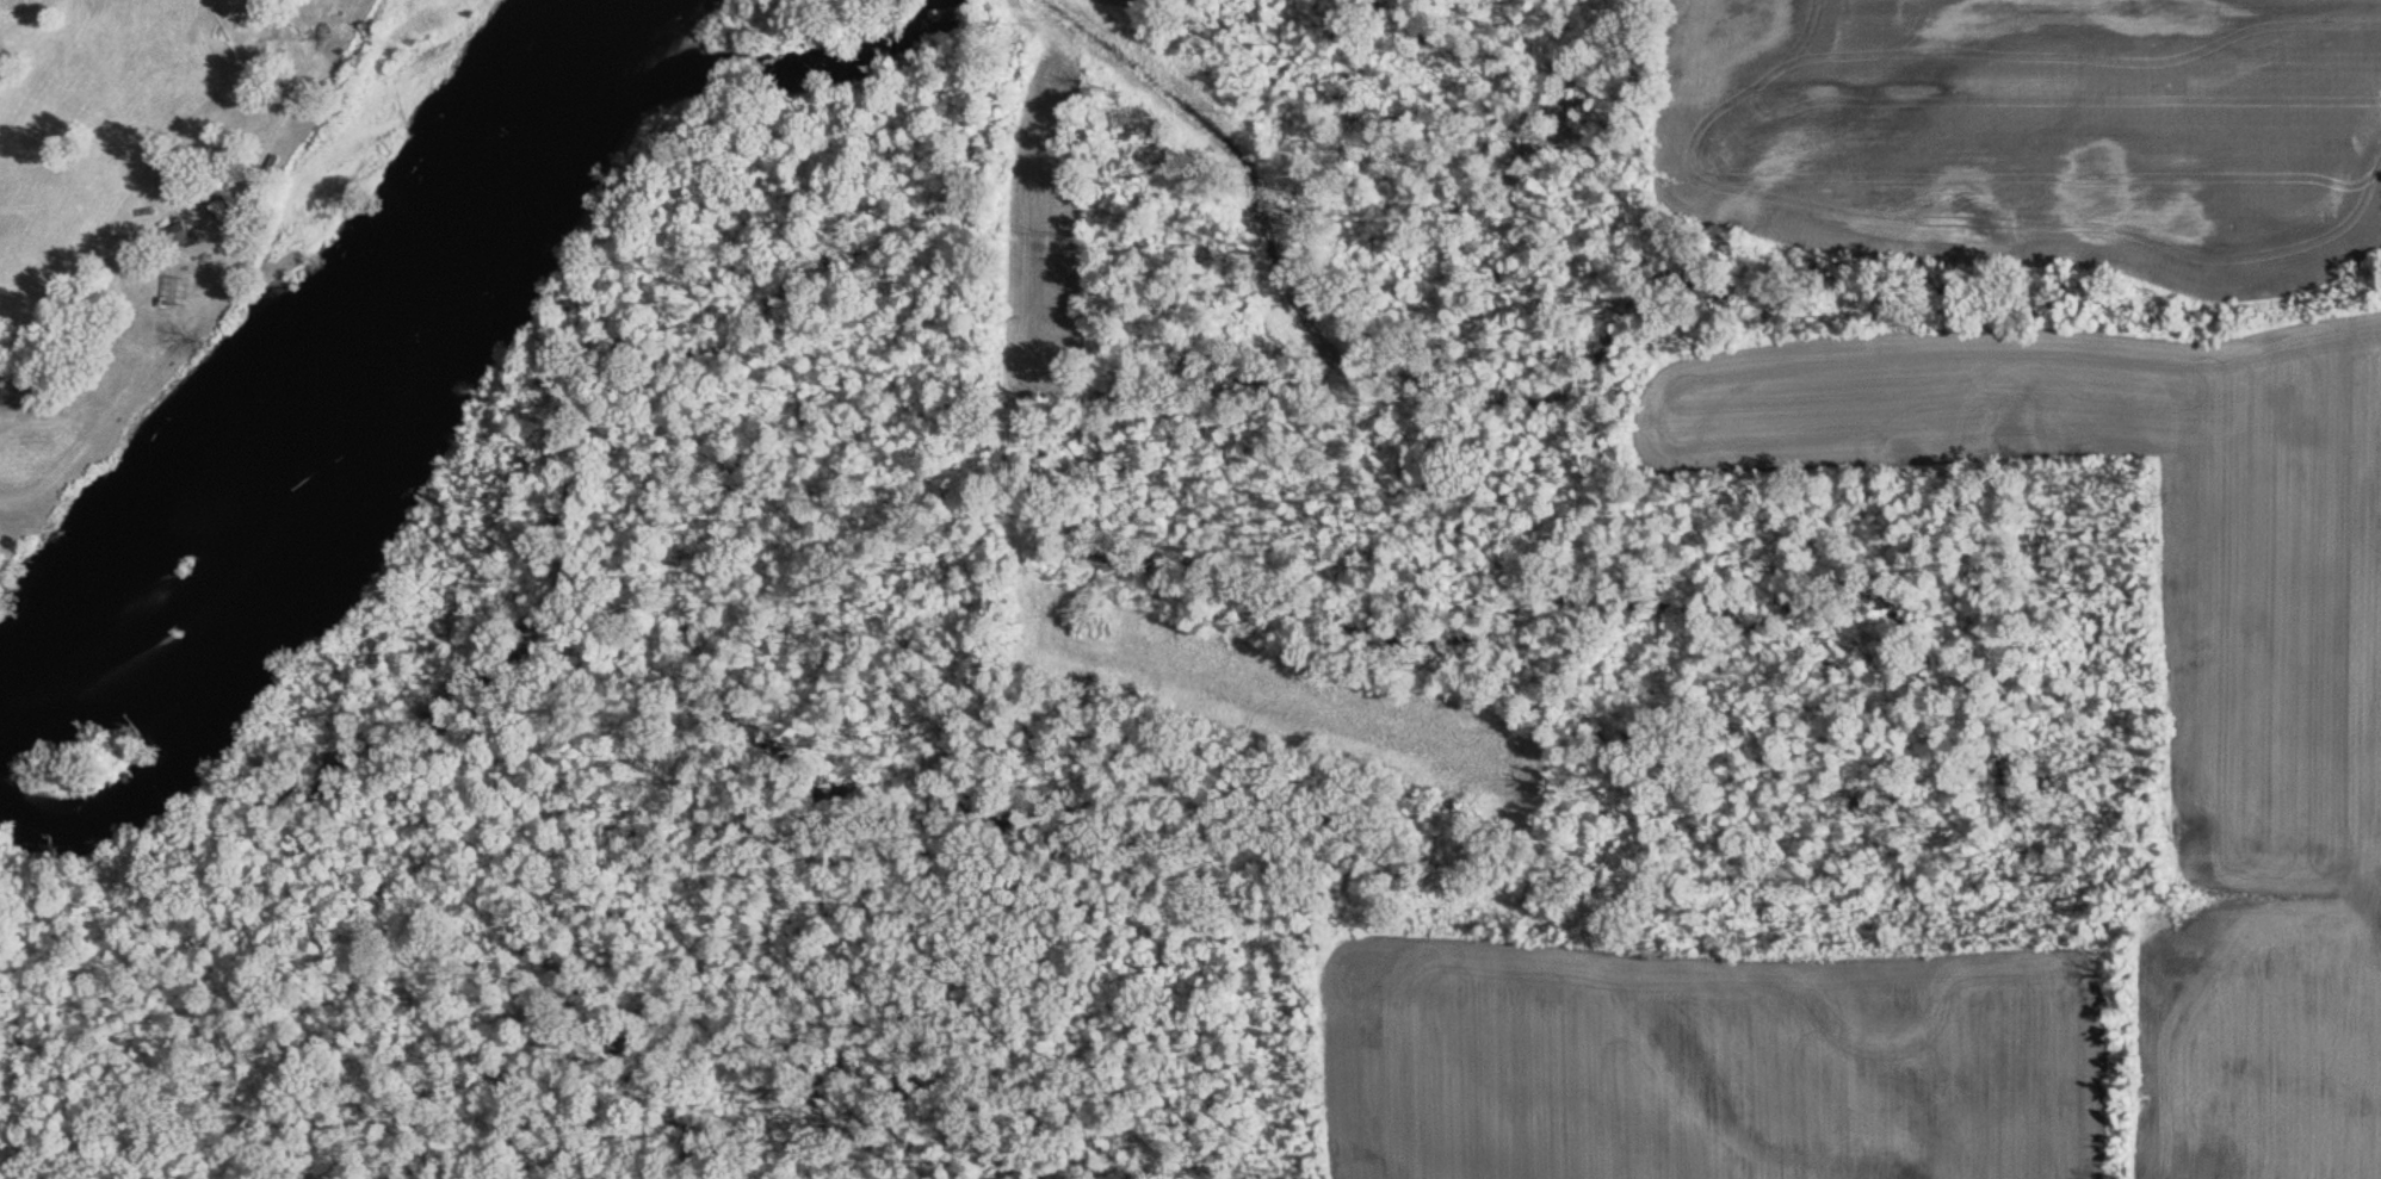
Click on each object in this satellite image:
building: (178, 234)
building: (181, 292)
river: (369, 389)

